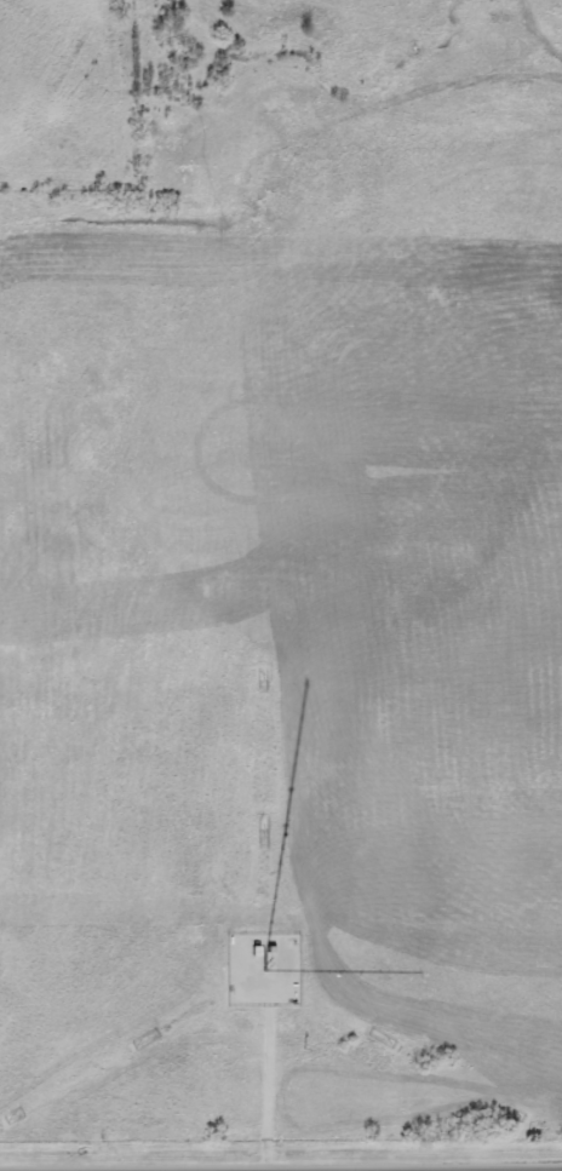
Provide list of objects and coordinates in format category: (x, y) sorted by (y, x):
road: (280, 1170)

